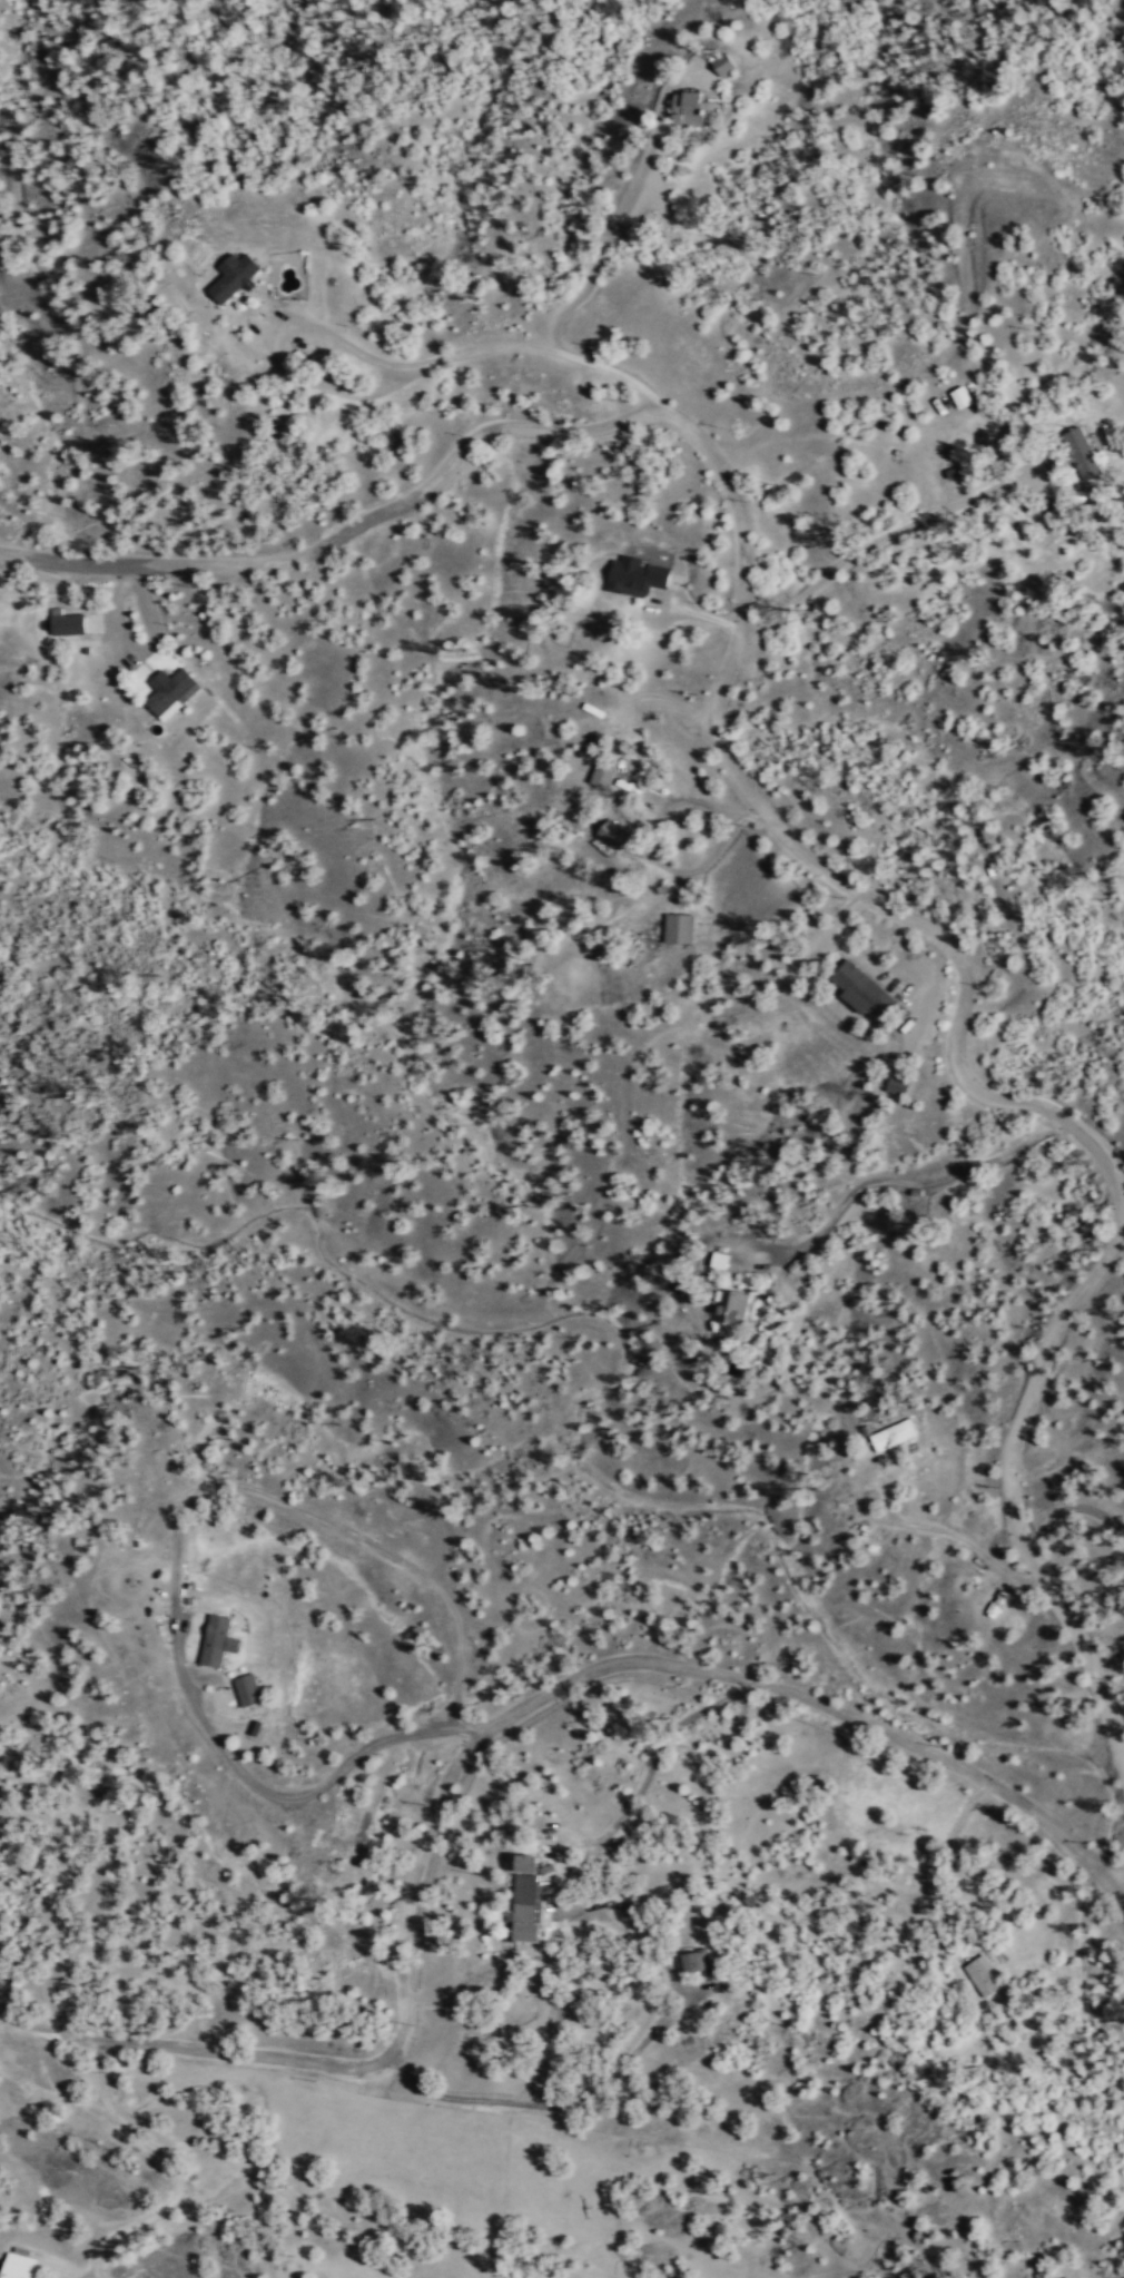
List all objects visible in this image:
building: (726, 61)
building: (692, 107)
building: (235, 275)
building: (962, 396)
building: (1082, 452)
road: (748, 541)
building: (637, 574)
building: (67, 621)
building: (171, 691)
building: (603, 772)
building: (614, 835)
building: (679, 927)
building: (862, 988)
building: (898, 1084)
building: (731, 1304)
building: (893, 1433)
road: (1015, 1487)
building: (218, 1640)
road: (1108, 1666)
building: (248, 1692)
road: (483, 1745)
building: (529, 1861)
building: (525, 1907)
building: (697, 1960)
building: (980, 1974)
building: (19, 2265)

